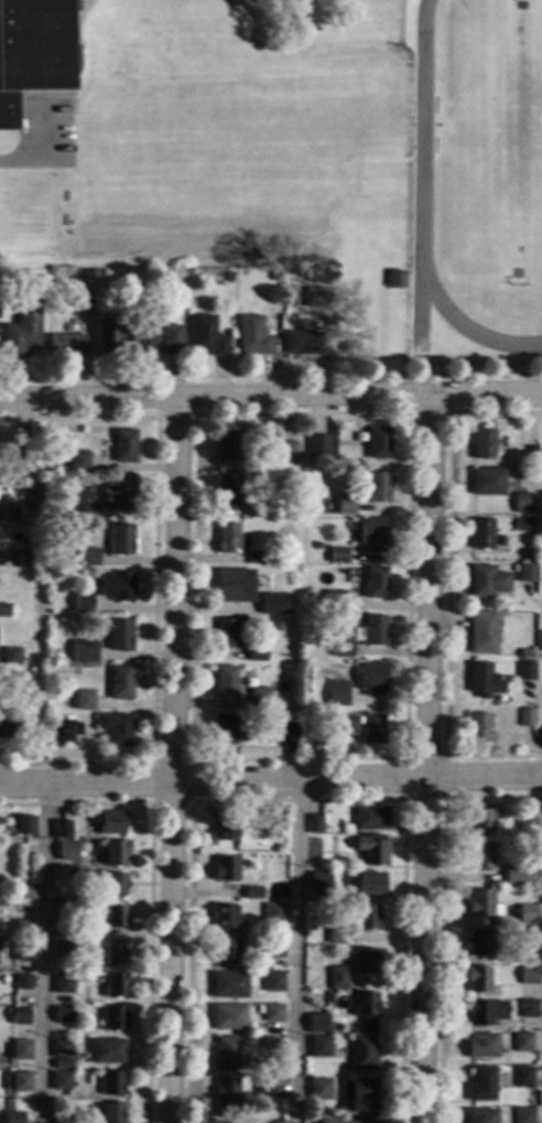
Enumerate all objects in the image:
road: (78, 2)
building: (32, 51)
road: (73, 64)
parking lot: (43, 128)
track: (421, 128)
park: (492, 142)
road: (39, 148)
building: (182, 274)
building: (227, 276)
building: (273, 276)
building: (7, 278)
building: (393, 278)
building: (80, 290)
building: (314, 296)
building: (82, 303)
track: (419, 304)
track: (463, 325)
building: (21, 330)
building: (207, 335)
building: (112, 336)
building: (252, 336)
building: (165, 337)
building: (129, 339)
building: (301, 342)
building: (65, 345)
road: (271, 375)
road: (271, 396)
road: (408, 412)
road: (409, 412)
road: (175, 415)
building: (376, 442)
building: (481, 443)
building: (124, 445)
building: (228, 445)
building: (316, 447)
building: (286, 452)
building: (530, 454)
building: (28, 461)
building: (77, 461)
building: (486, 482)
building: (376, 486)
building: (228, 489)
building: (122, 493)
building: (522, 504)
building: (345, 505)
building: (256, 509)
building: (91, 511)
building: (9, 512)
building: (58, 514)
building: (521, 523)
building: (372, 533)
building: (480, 533)
building: (227, 538)
building: (120, 539)
building: (317, 546)
building: (296, 554)
building: (337, 554)
building: (88, 557)
building: (257, 557)
building: (25, 559)
building: (523, 572)
building: (486, 581)
building: (375, 582)
building: (117, 585)
road: (152, 585)
building: (234, 585)
road: (445, 586)
building: (334, 601)
building: (274, 603)
building: (85, 605)
building: (4, 609)
building: (371, 631)
building: (481, 631)
building: (226, 633)
building: (119, 634)
building: (342, 648)
building: (84, 651)
building: (524, 652)
building: (256, 654)
building: (11, 656)
building: (7, 671)
building: (524, 671)
building: (370, 678)
building: (225, 680)
building: (483, 680)
building: (120, 681)
building: (336, 692)
building: (259, 697)
building: (83, 700)
building: (525, 717)
building: (116, 727)
building: (362, 727)
building: (478, 727)
building: (4, 728)
building: (225, 728)
building: (62, 731)
building: (288, 733)
road: (424, 758)
road: (171, 759)
road: (270, 777)
road: (403, 798)
road: (297, 799)
road: (149, 801)
building: (370, 817)
building: (480, 820)
building: (111, 822)
building: (24, 824)
building: (314, 824)
building: (527, 827)
building: (224, 828)
building: (62, 829)
building: (275, 831)
building: (370, 847)
building: (67, 850)
building: (262, 850)
building: (116, 852)
building: (479, 856)
building: (225, 868)
building: (516, 873)
building: (65, 878)
building: (318, 882)
building: (368, 883)
building: (115, 884)
road: (148, 888)
building: (24, 892)
building: (252, 893)
building: (479, 903)
road: (441, 910)
building: (67, 913)
building: (273, 914)
building: (527, 914)
building: (115, 916)
building: (224, 916)
building: (366, 916)
building: (22, 928)
building: (336, 933)
building: (478, 942)
building: (272, 947)
building: (63, 949)
building: (225, 949)
road: (293, 950)
building: (23, 951)
road: (40, 951)
building: (113, 952)
building: (525, 953)
building: (365, 959)
building: (528, 974)
building: (337, 978)
building: (477, 979)
building: (20, 981)
building: (272, 981)
building: (63, 983)
building: (115, 984)
building: (228, 984)
building: (314, 996)
building: (365, 1004)
building: (528, 1007)
building: (484, 1011)
building: (272, 1013)
building: (63, 1014)
building: (20, 1015)
building: (227, 1016)
building: (113, 1017)
building: (316, 1023)
building: (520, 1041)
building: (269, 1043)
building: (322, 1045)
building: (481, 1045)
building: (61, 1048)
building: (21, 1049)
building: (105, 1050)
building: (225, 1052)
building: (361, 1052)
building: (62, 1063)
building: (522, 1076)
building: (61, 1080)
building: (20, 1081)
building: (111, 1083)
building: (480, 1083)
building: (263, 1087)
building: (318, 1089)
building: (359, 1094)
building: (225, 1097)
building: (110, 1112)
building: (480, 1115)
building: (522, 1115)
building: (13, 1117)
building: (350, 1122)

